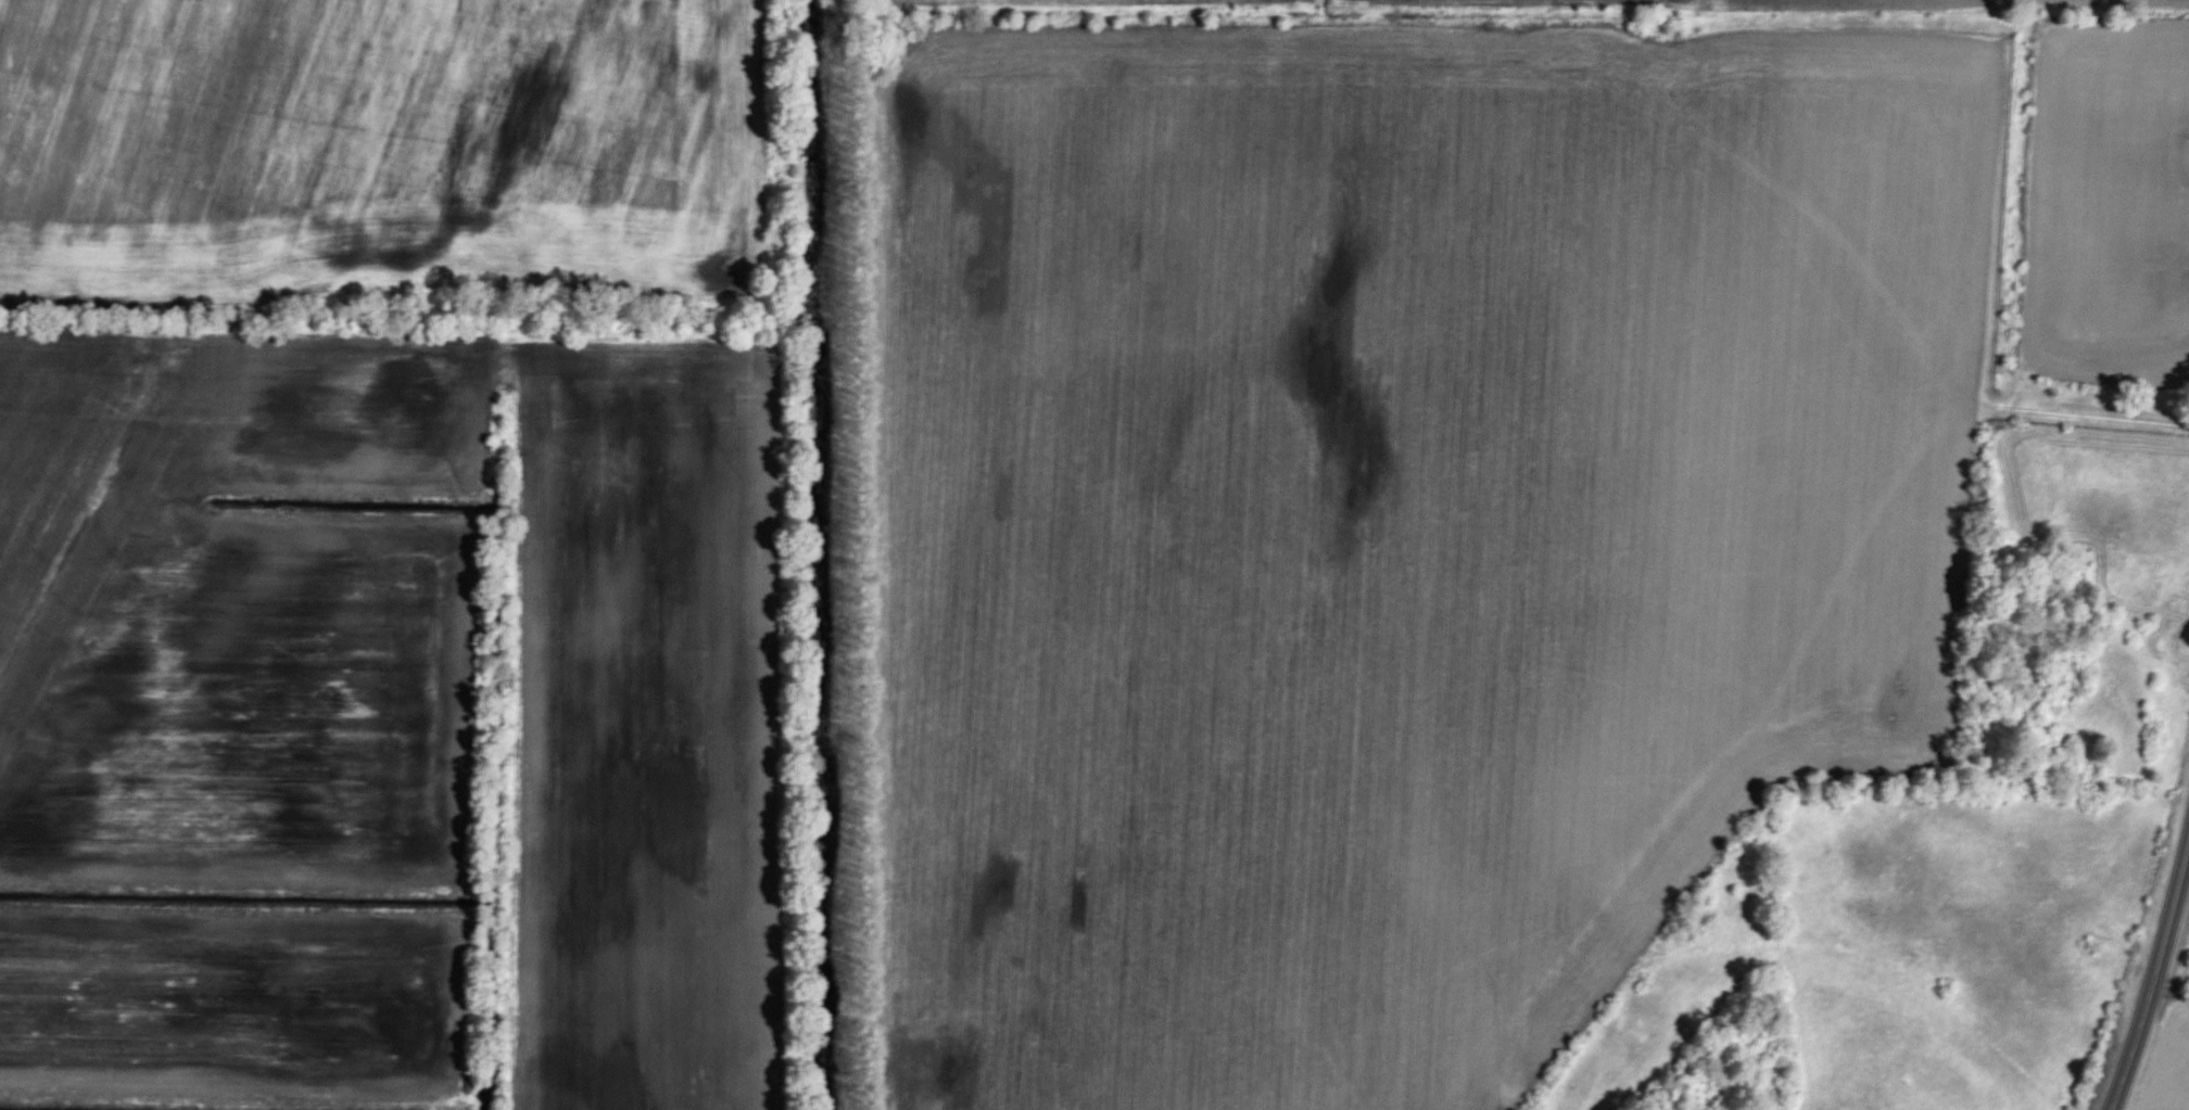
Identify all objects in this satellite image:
road: (2153, 973)

